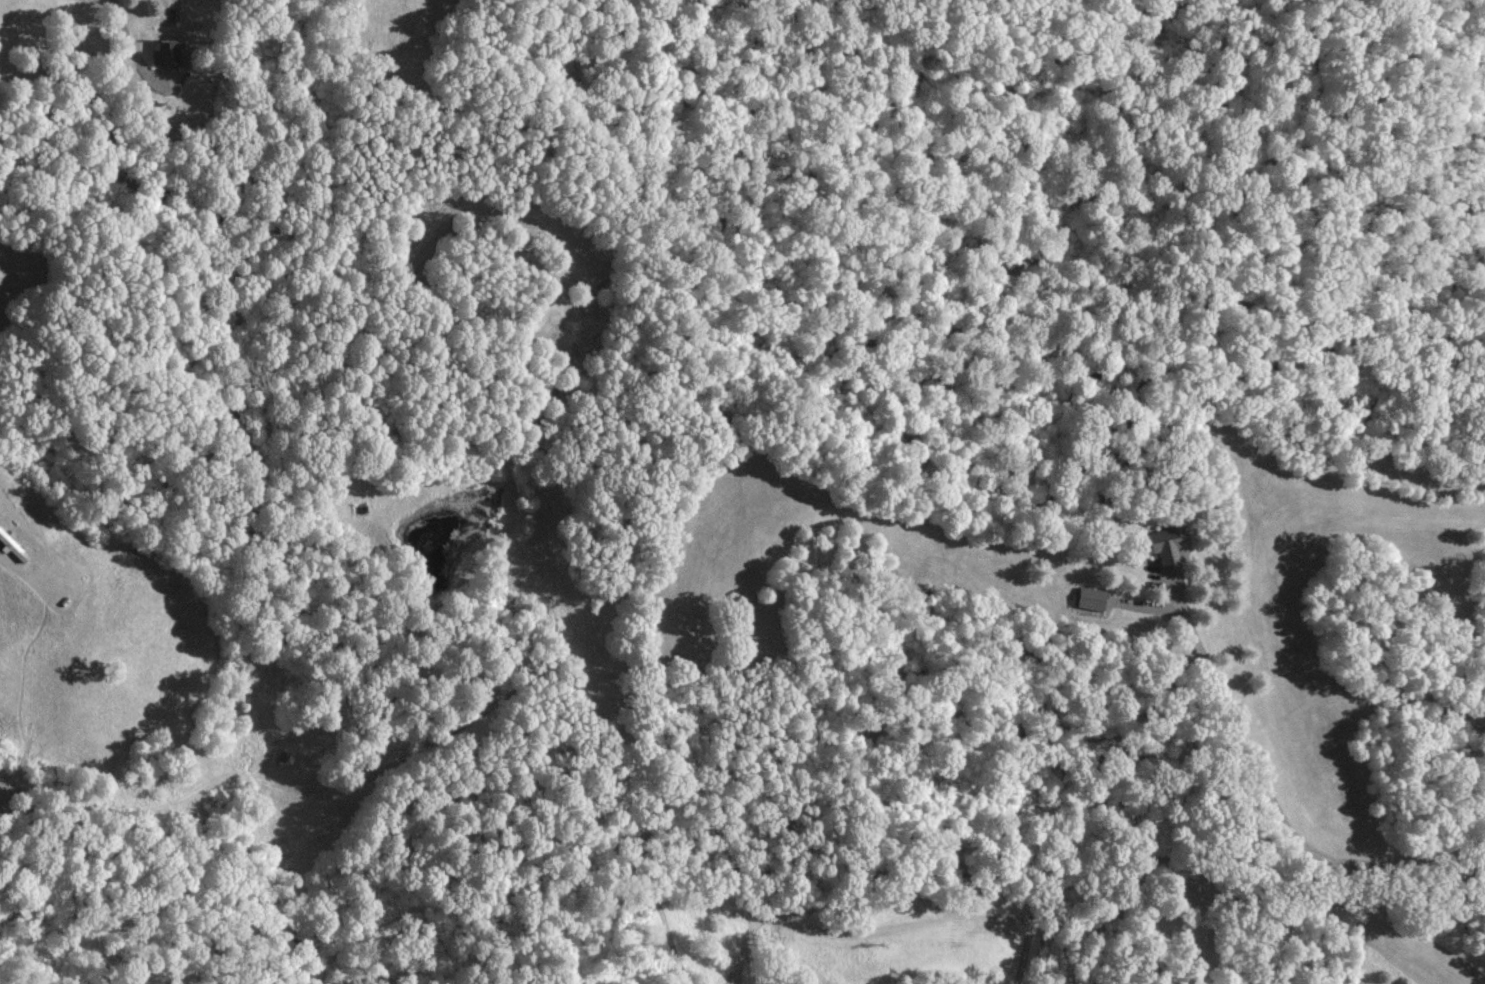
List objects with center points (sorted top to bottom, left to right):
building: (164, 52)
building: (1164, 545)
building: (1090, 601)
road: (1273, 831)

